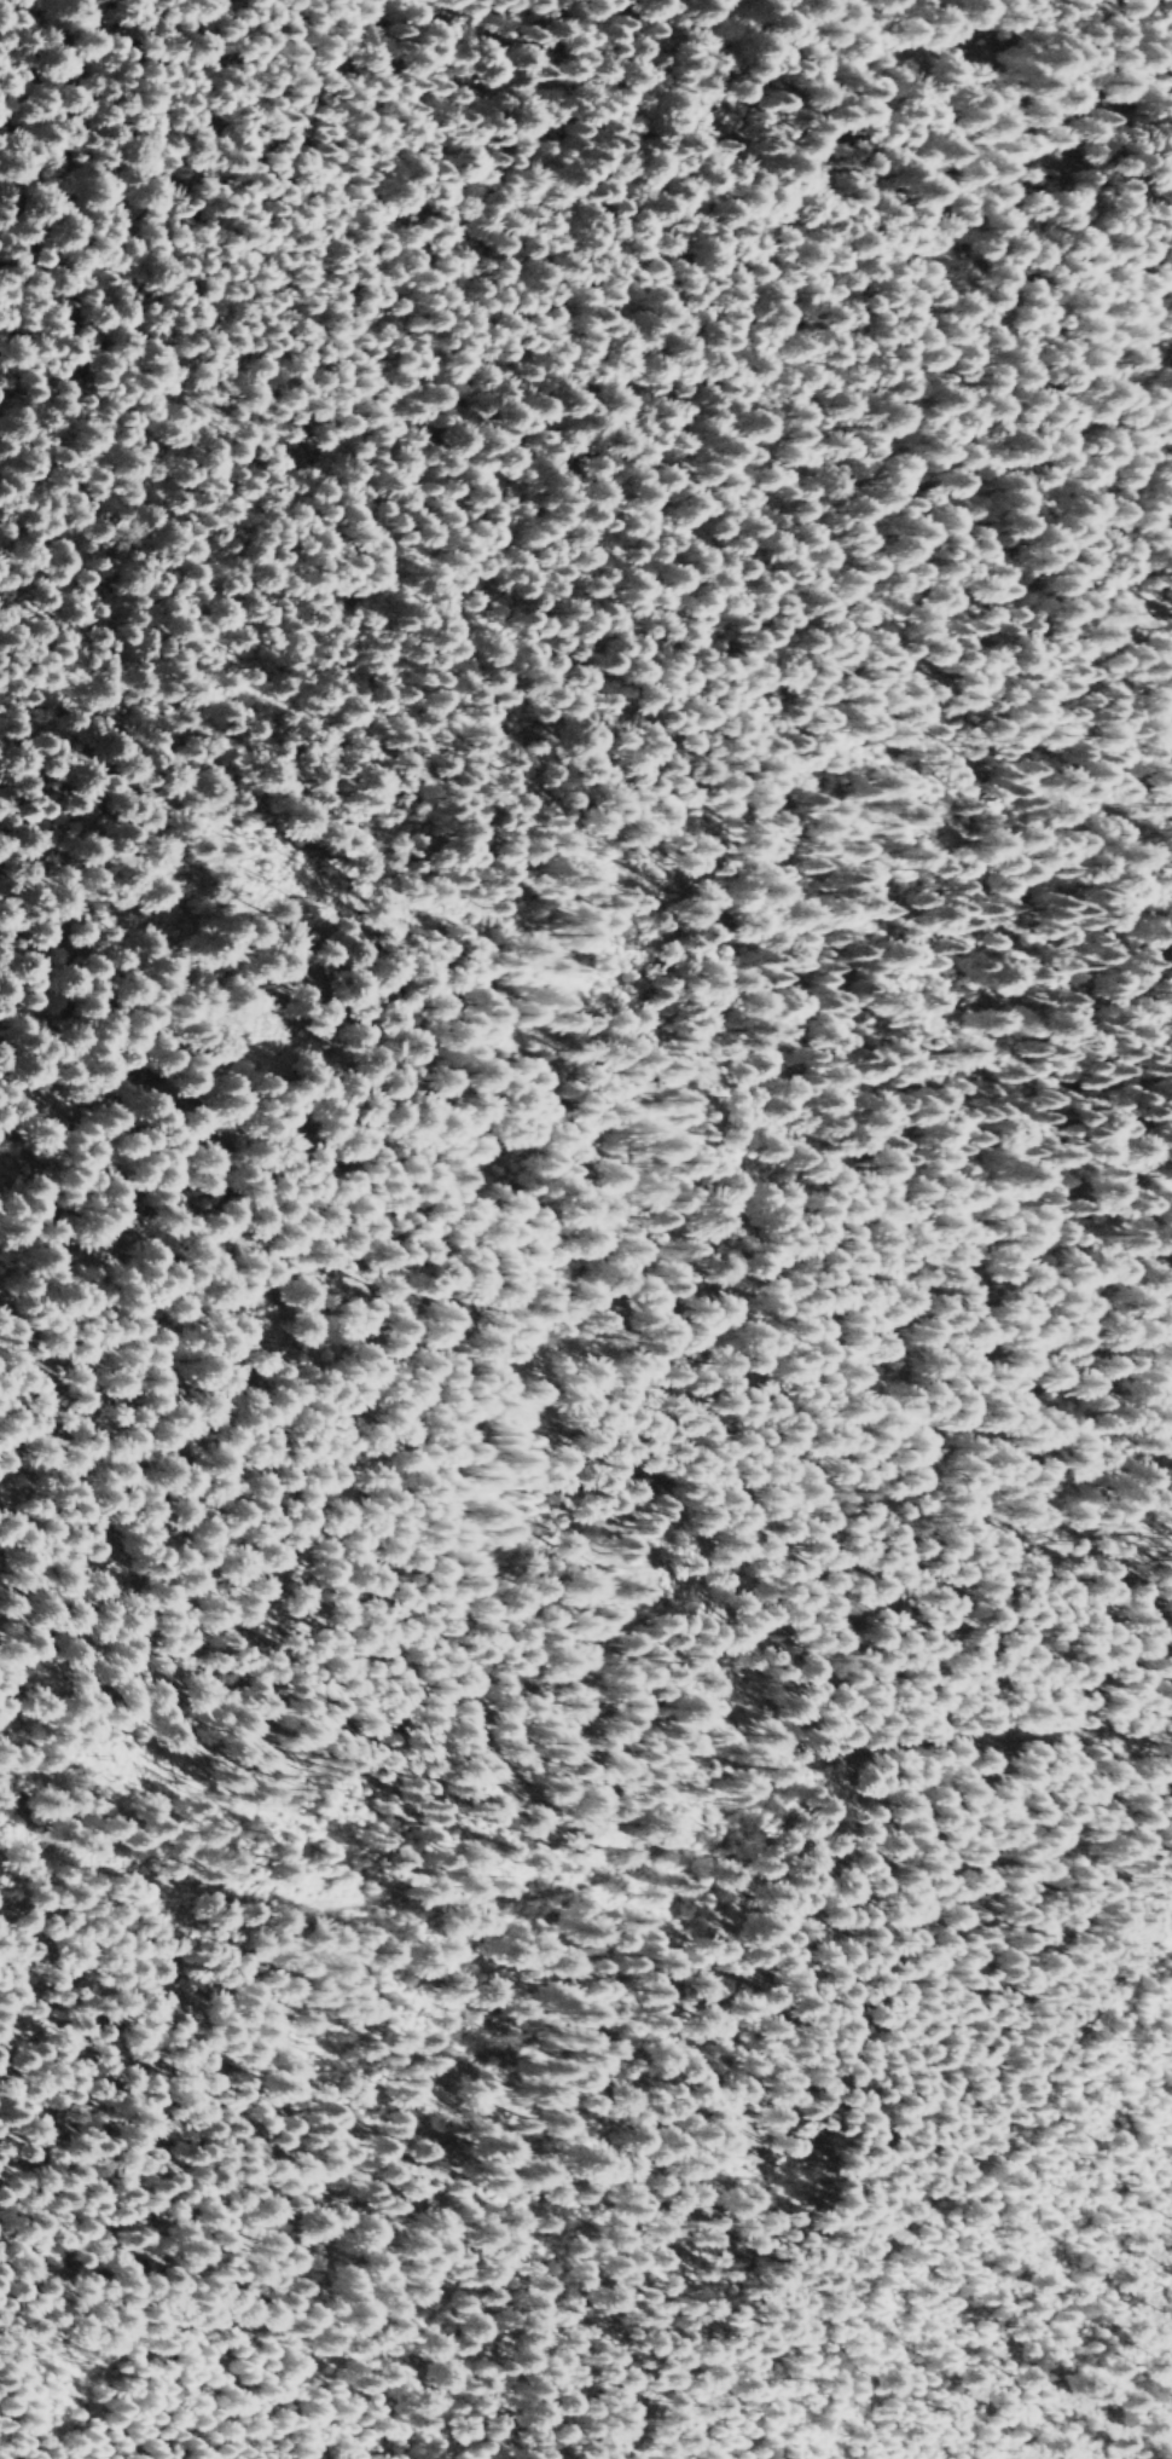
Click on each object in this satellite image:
road: (923, 2203)

